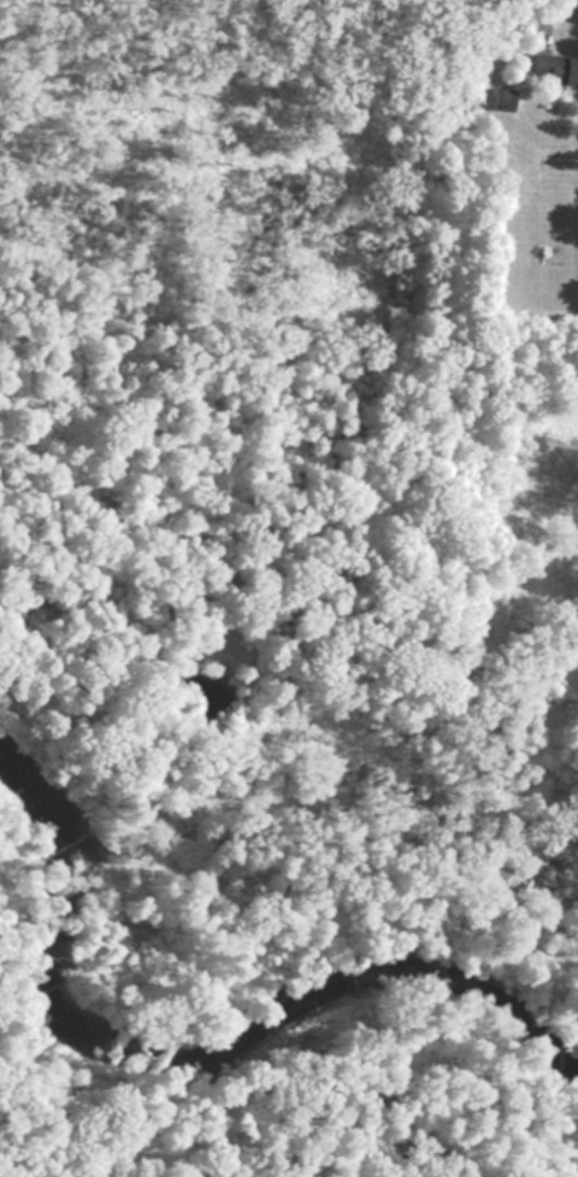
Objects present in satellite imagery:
building: (554, 69)
river: (196, 1061)

